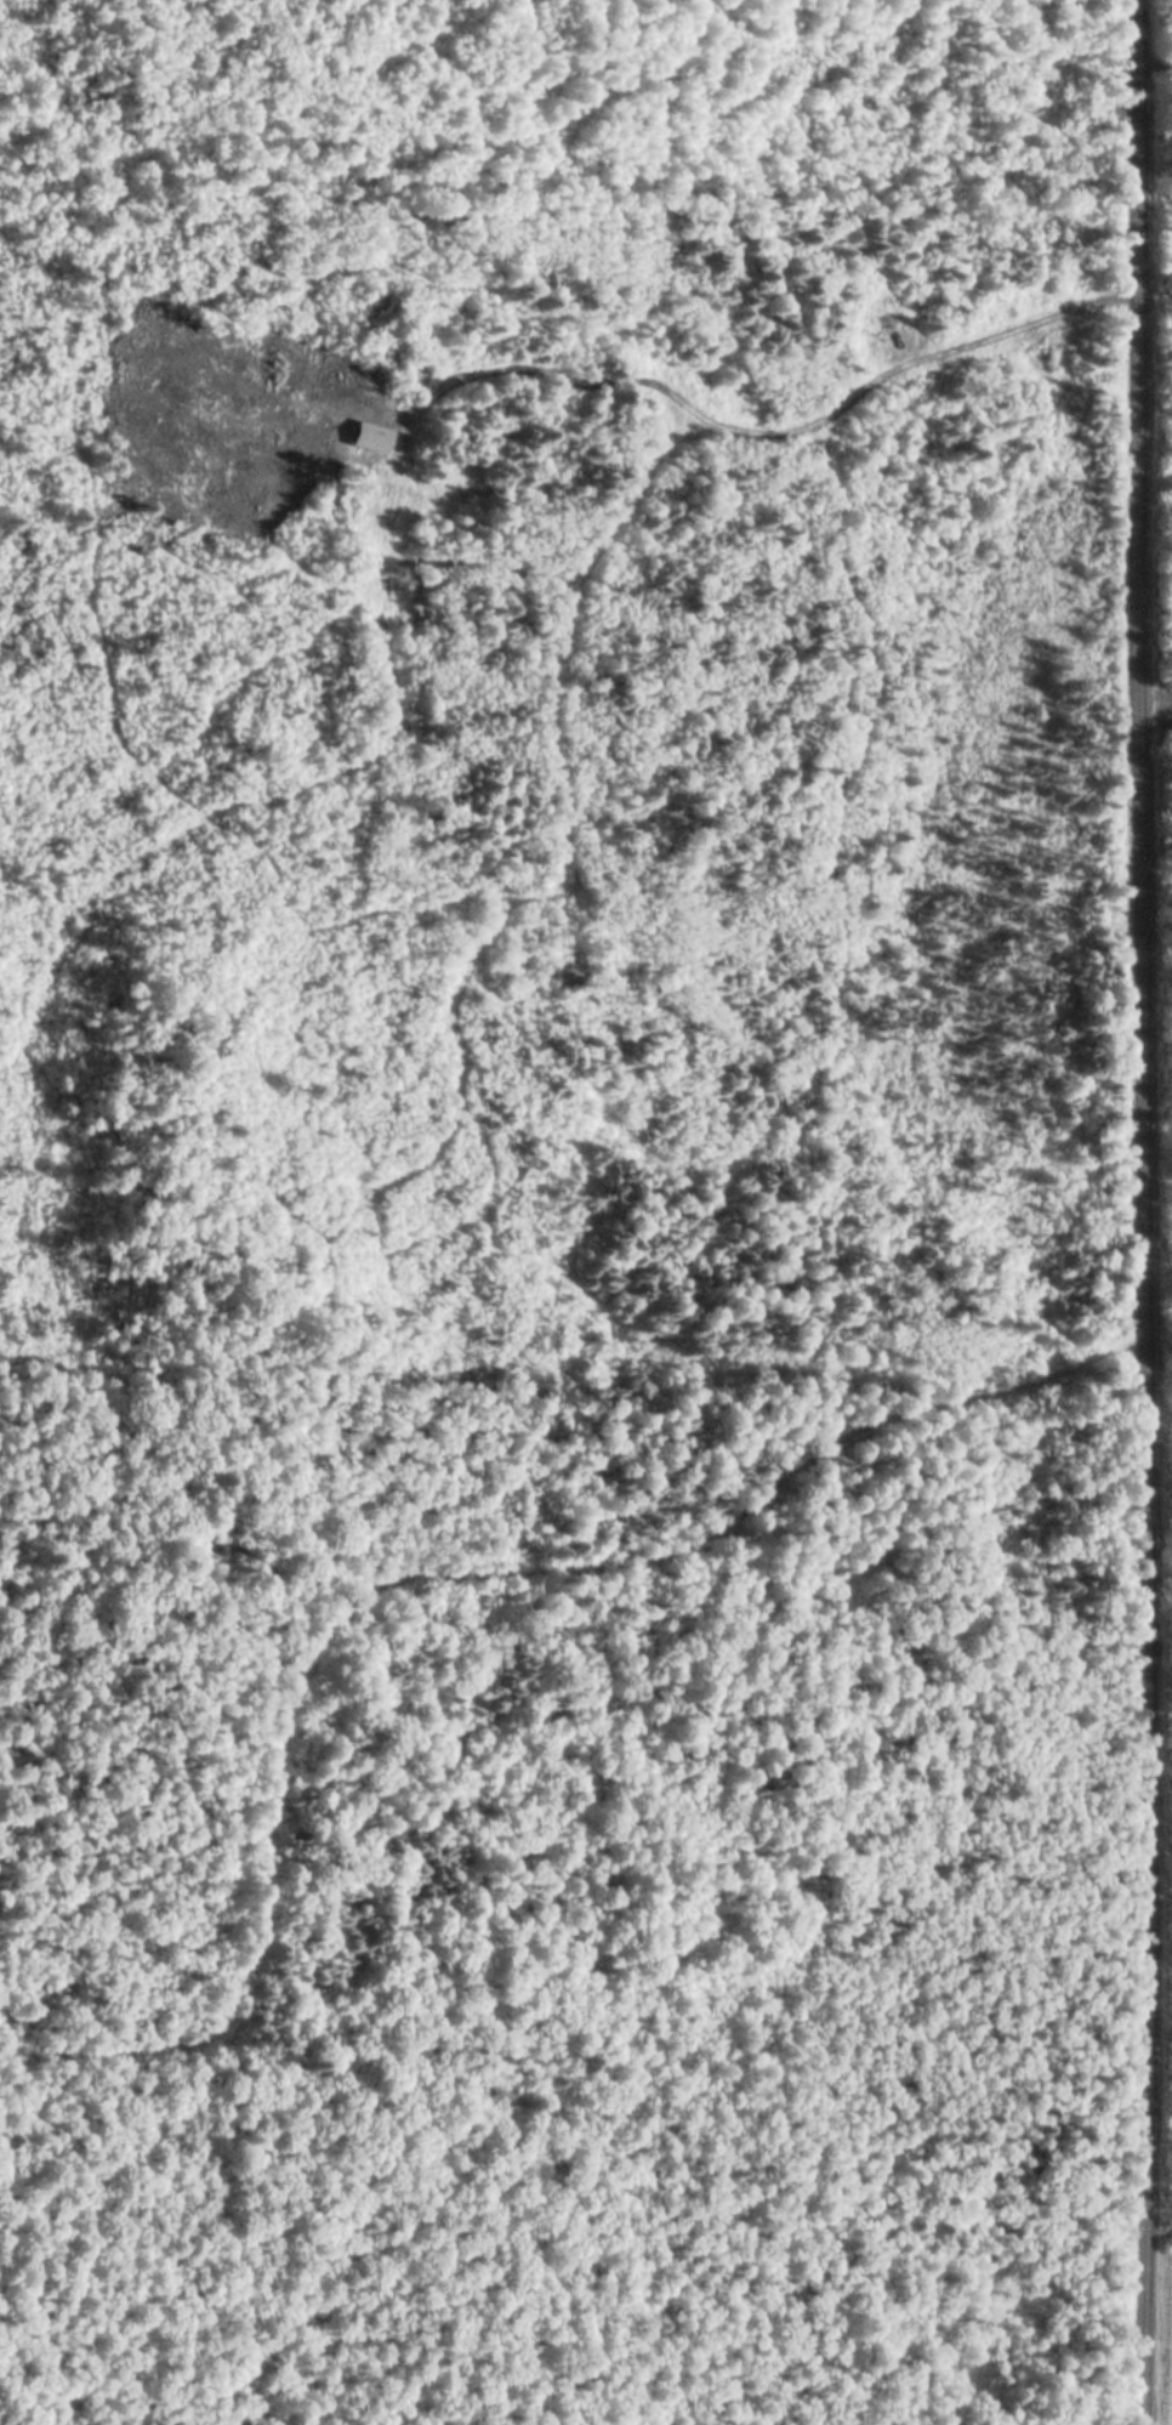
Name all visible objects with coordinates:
road: (1142, 1212)

